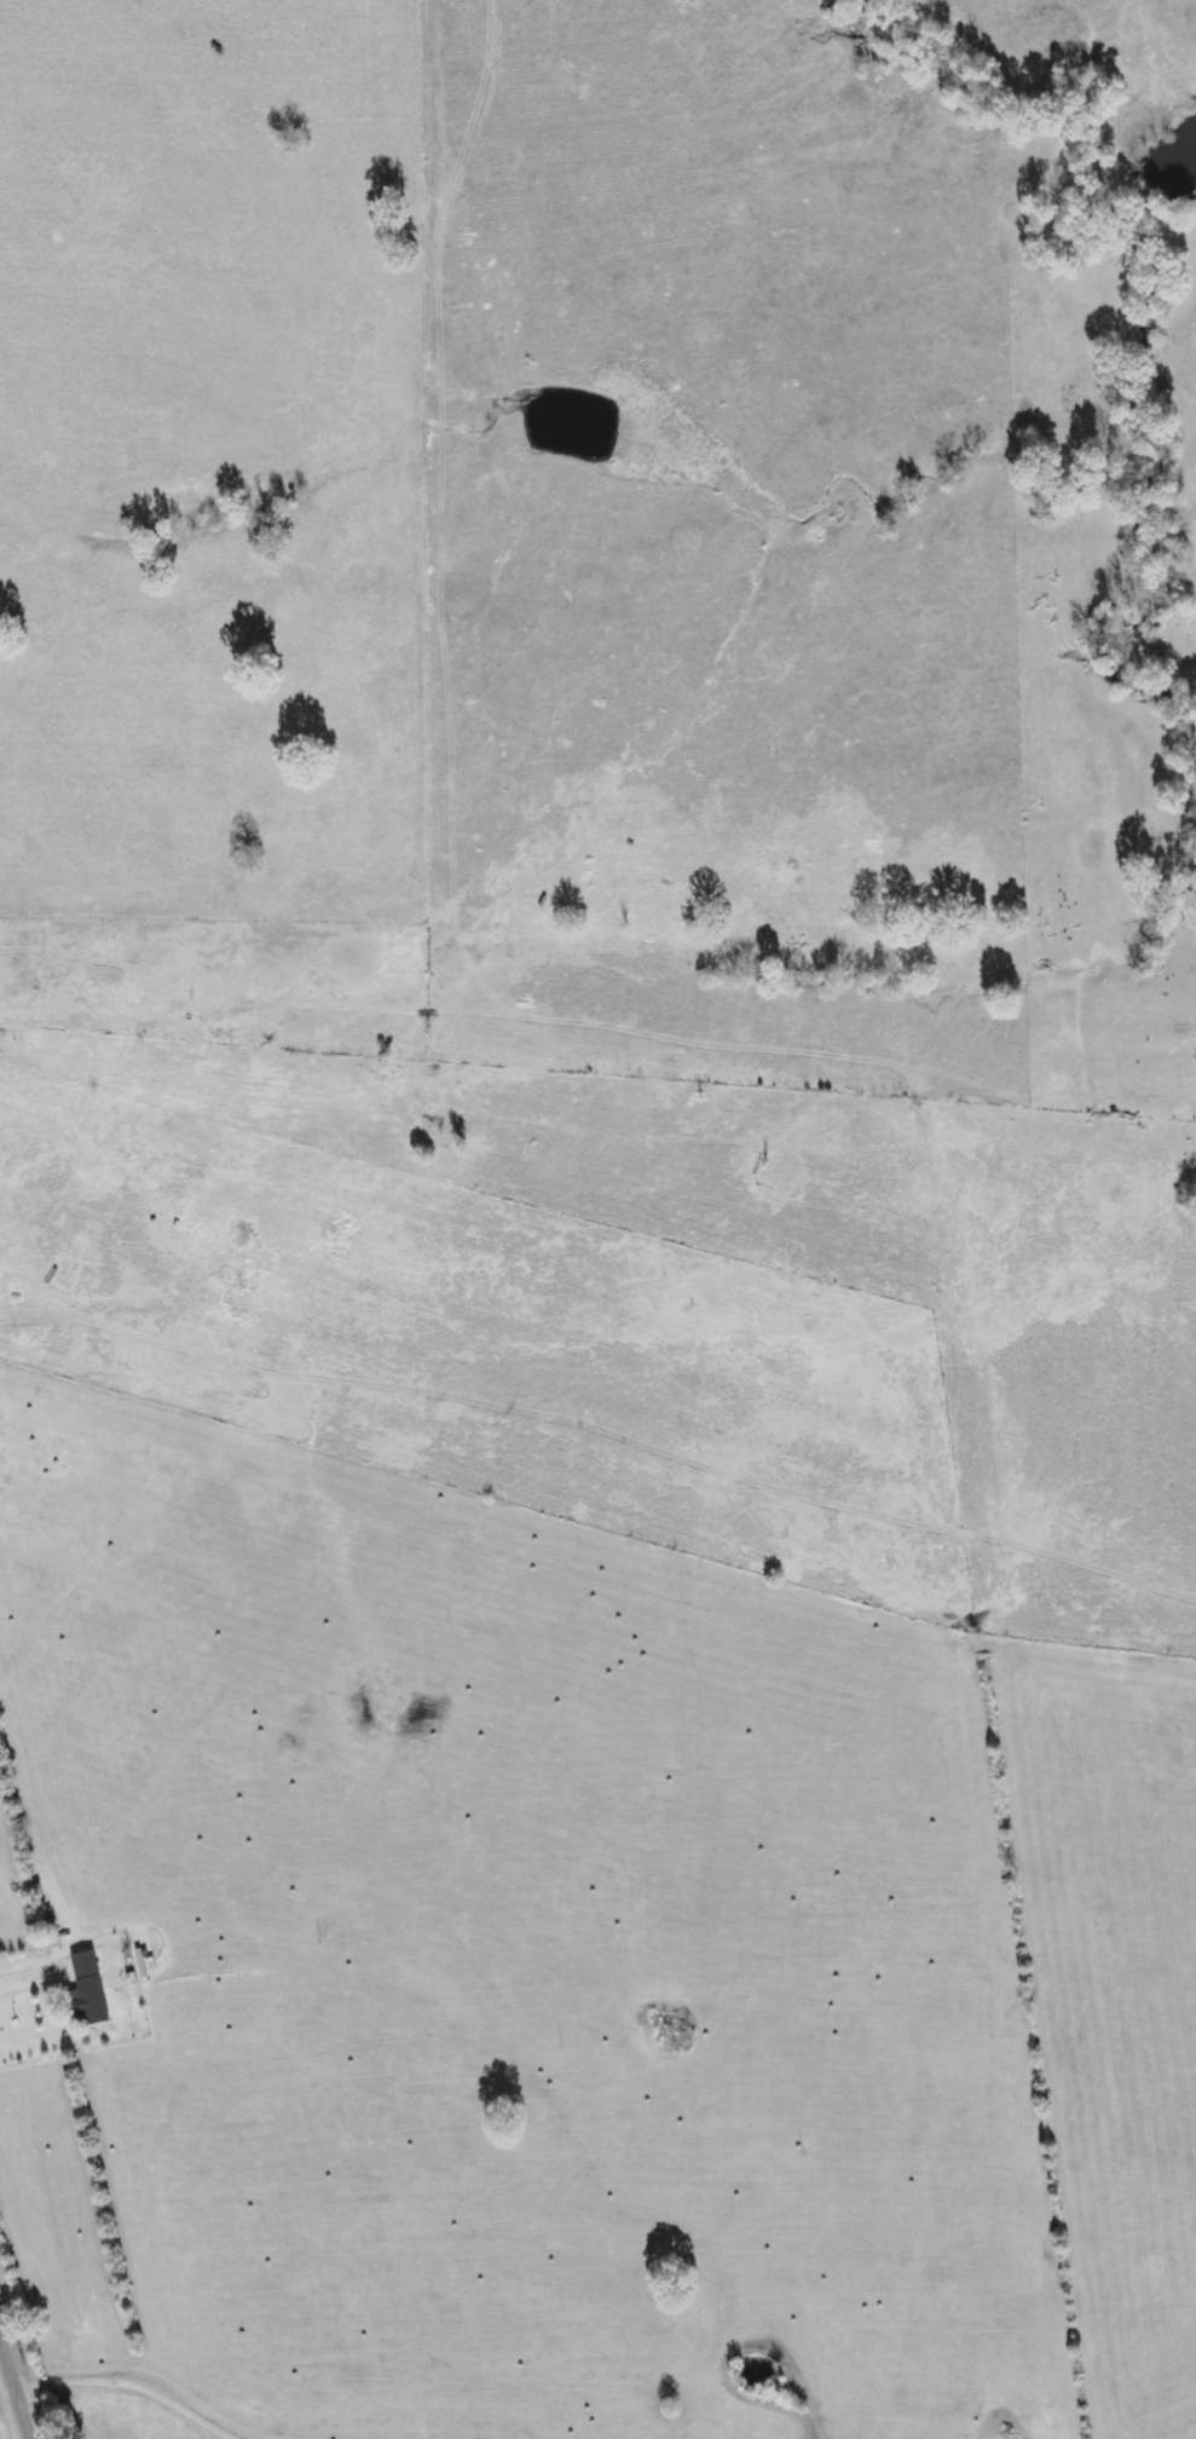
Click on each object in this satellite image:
building: (87, 1990)
road: (17, 2379)

